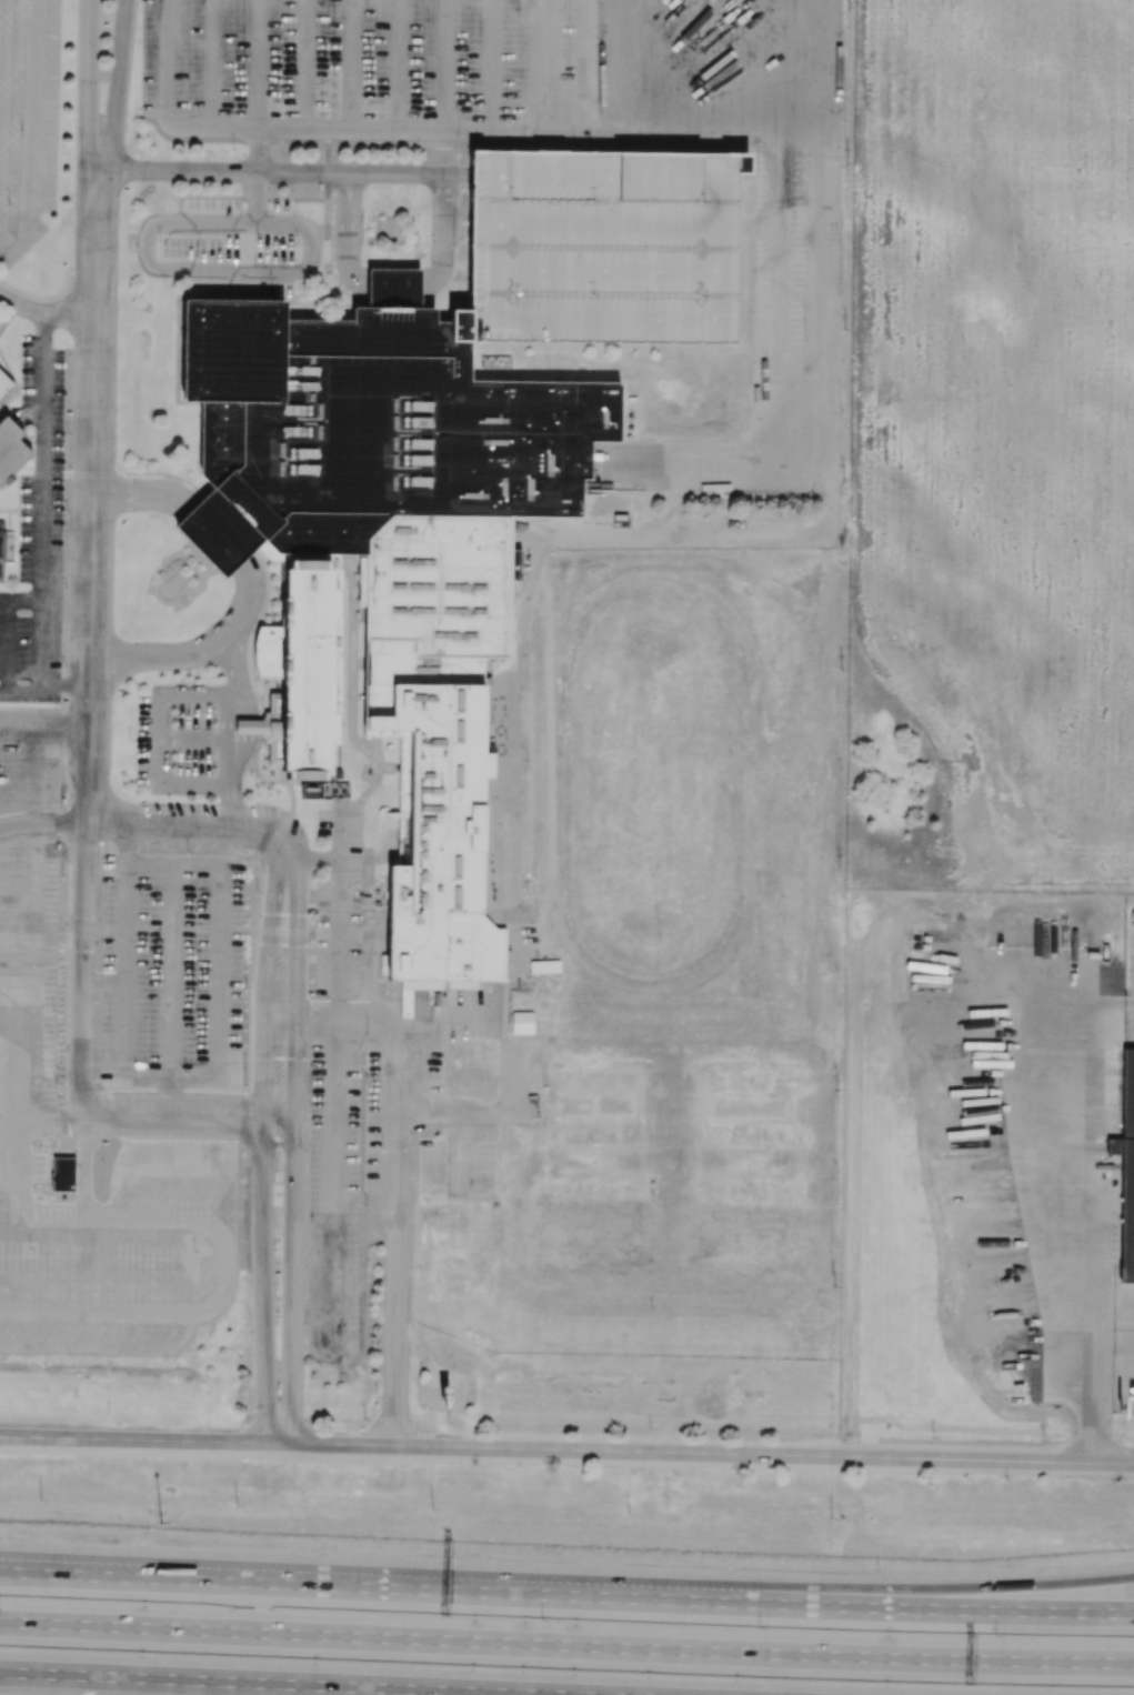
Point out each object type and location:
road: (19, 34)
parking lot: (499, 61)
road: (815, 66)
road: (258, 87)
parking lot: (28, 121)
road: (89, 123)
road: (116, 123)
road: (36, 127)
road: (771, 131)
road: (219, 173)
road: (394, 175)
road: (456, 177)
road: (257, 199)
road: (441, 205)
road: (455, 218)
road: (455, 234)
parking lot: (232, 245)
building: (606, 249)
parking lot: (606, 249)
road: (201, 269)
building: (393, 288)
road: (363, 289)
road: (47, 315)
road: (43, 325)
building: (4, 384)
building: (10, 449)
road: (41, 509)
building: (622, 519)
road: (202, 522)
parking lot: (38, 523)
building: (218, 533)
building: (400, 545)
building: (6, 549)
building: (305, 559)
building: (515, 565)
road: (658, 580)
road: (7, 630)
road: (92, 633)
road: (237, 641)
road: (215, 642)
road: (210, 656)
road: (138, 658)
building: (300, 676)
road: (235, 681)
road: (41, 683)
building: (254, 729)
road: (225, 731)
road: (249, 732)
road: (162, 738)
parking lot: (175, 739)
road: (193, 739)
parking lot: (29, 758)
park: (658, 784)
road: (751, 785)
road: (89, 792)
building: (310, 792)
road: (232, 800)
road: (42, 825)
road: (120, 826)
road: (340, 839)
road: (128, 847)
road: (314, 862)
parking lot: (340, 904)
road: (339, 931)
road: (566, 936)
road: (83, 971)
parking lot: (172, 973)
road: (173, 974)
road: (104, 982)
road: (33, 997)
road: (337, 1013)
building: (522, 1023)
road: (374, 1026)
road: (217, 1079)
parking lot: (28, 1087)
road: (172, 1099)
road: (450, 1104)
road: (193, 1119)
road: (449, 1123)
road: (263, 1151)
road: (294, 1153)
road: (21, 1155)
building: (1126, 1170)
building: (63, 1175)
road: (173, 1187)
road: (334, 1187)
road: (227, 1193)
parking lot: (341, 1195)
road: (20, 1203)
road: (84, 1214)
road: (1075, 1226)
road: (42, 1234)
road: (165, 1236)
road: (42, 1277)
road: (154, 1280)
road: (398, 1284)
road: (41, 1315)
building: (453, 1401)
road: (566, 1451)
street lamp: (160, 1522)
street lamp: (879, 1571)
road: (294, 1584)
road: (862, 1586)
road: (862, 1604)
street lamp: (541, 1619)
street lamp: (760, 1628)
street lamp: (995, 1635)
road: (566, 1648)
road: (126, 1675)
road: (420, 1688)

